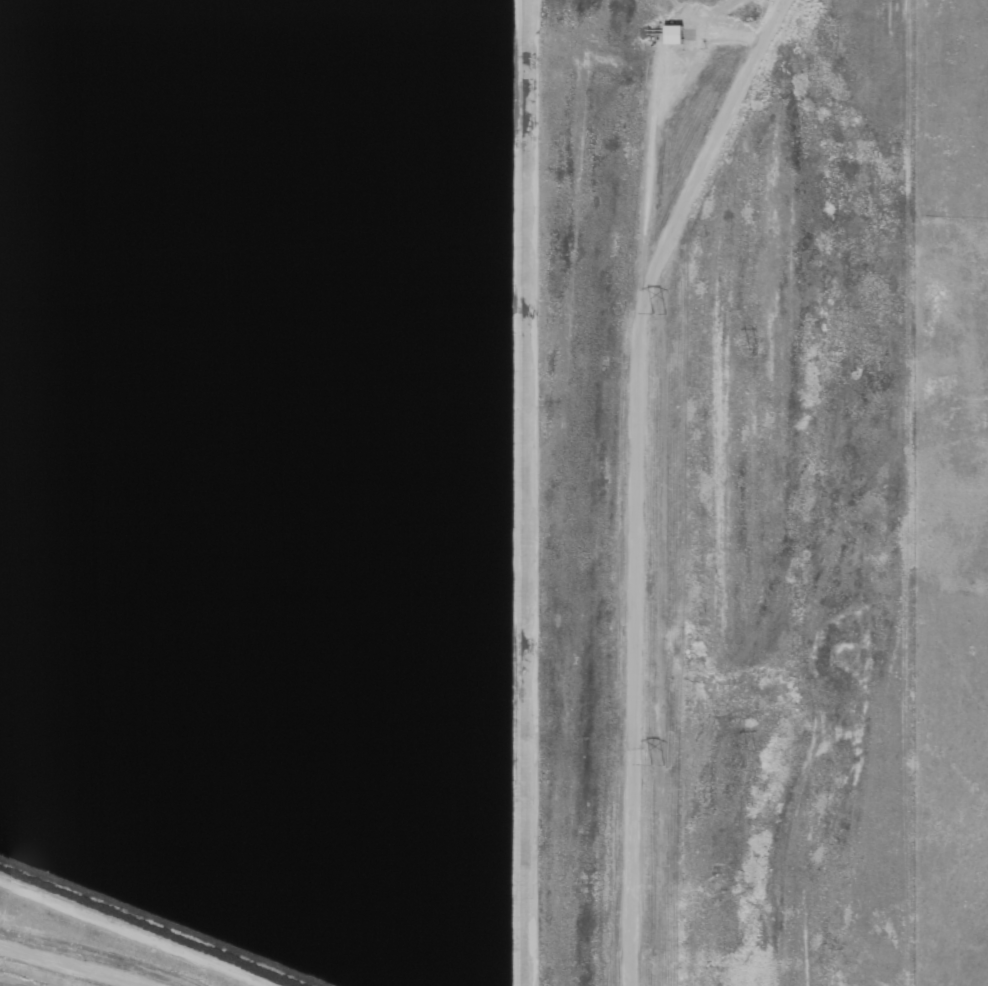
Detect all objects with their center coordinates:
power tower: (651, 316)
power tower: (745, 358)
power plant: (456, 493)
power tower: (745, 761)
power tower: (652, 766)

